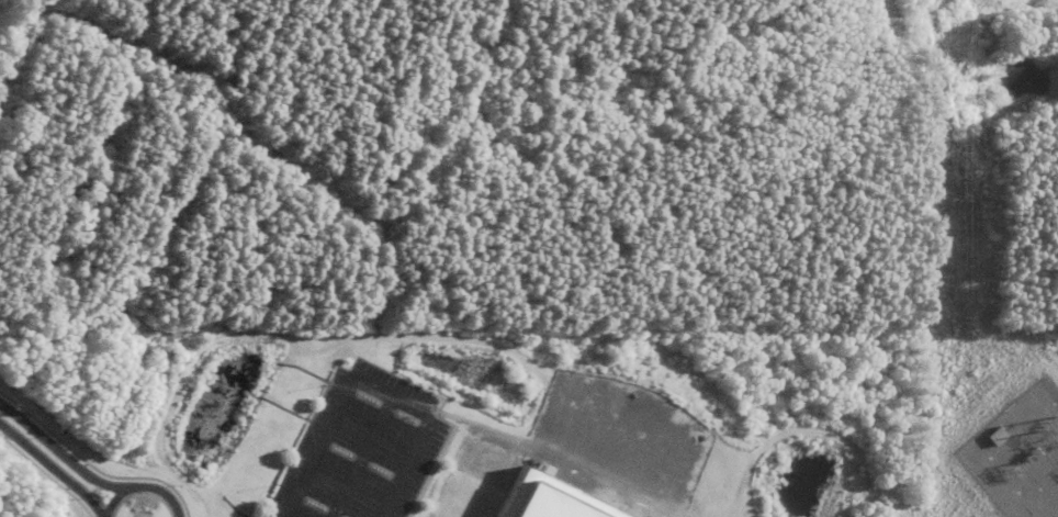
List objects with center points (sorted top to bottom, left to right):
road: (372, 390)
road: (60, 454)
road: (52, 468)
road: (142, 487)
building: (540, 501)

